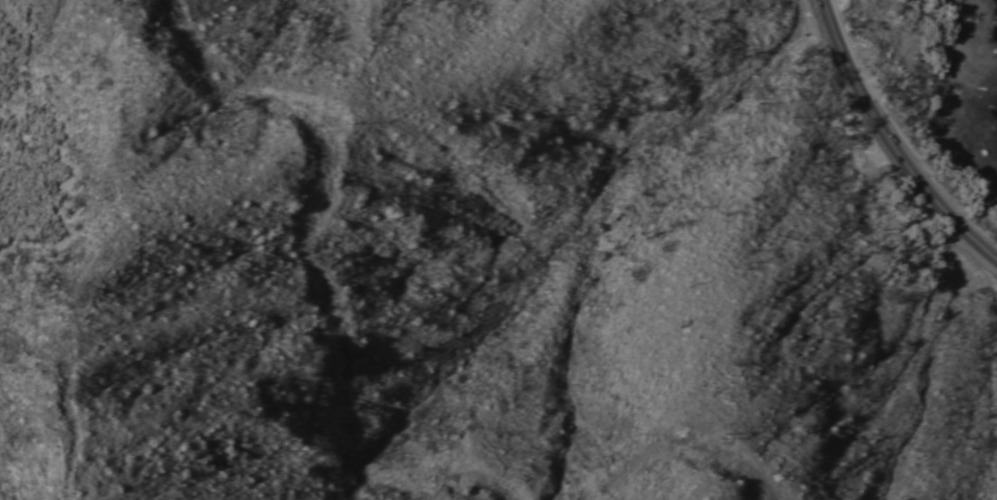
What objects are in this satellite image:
road: (30, 37)
road: (891, 142)

